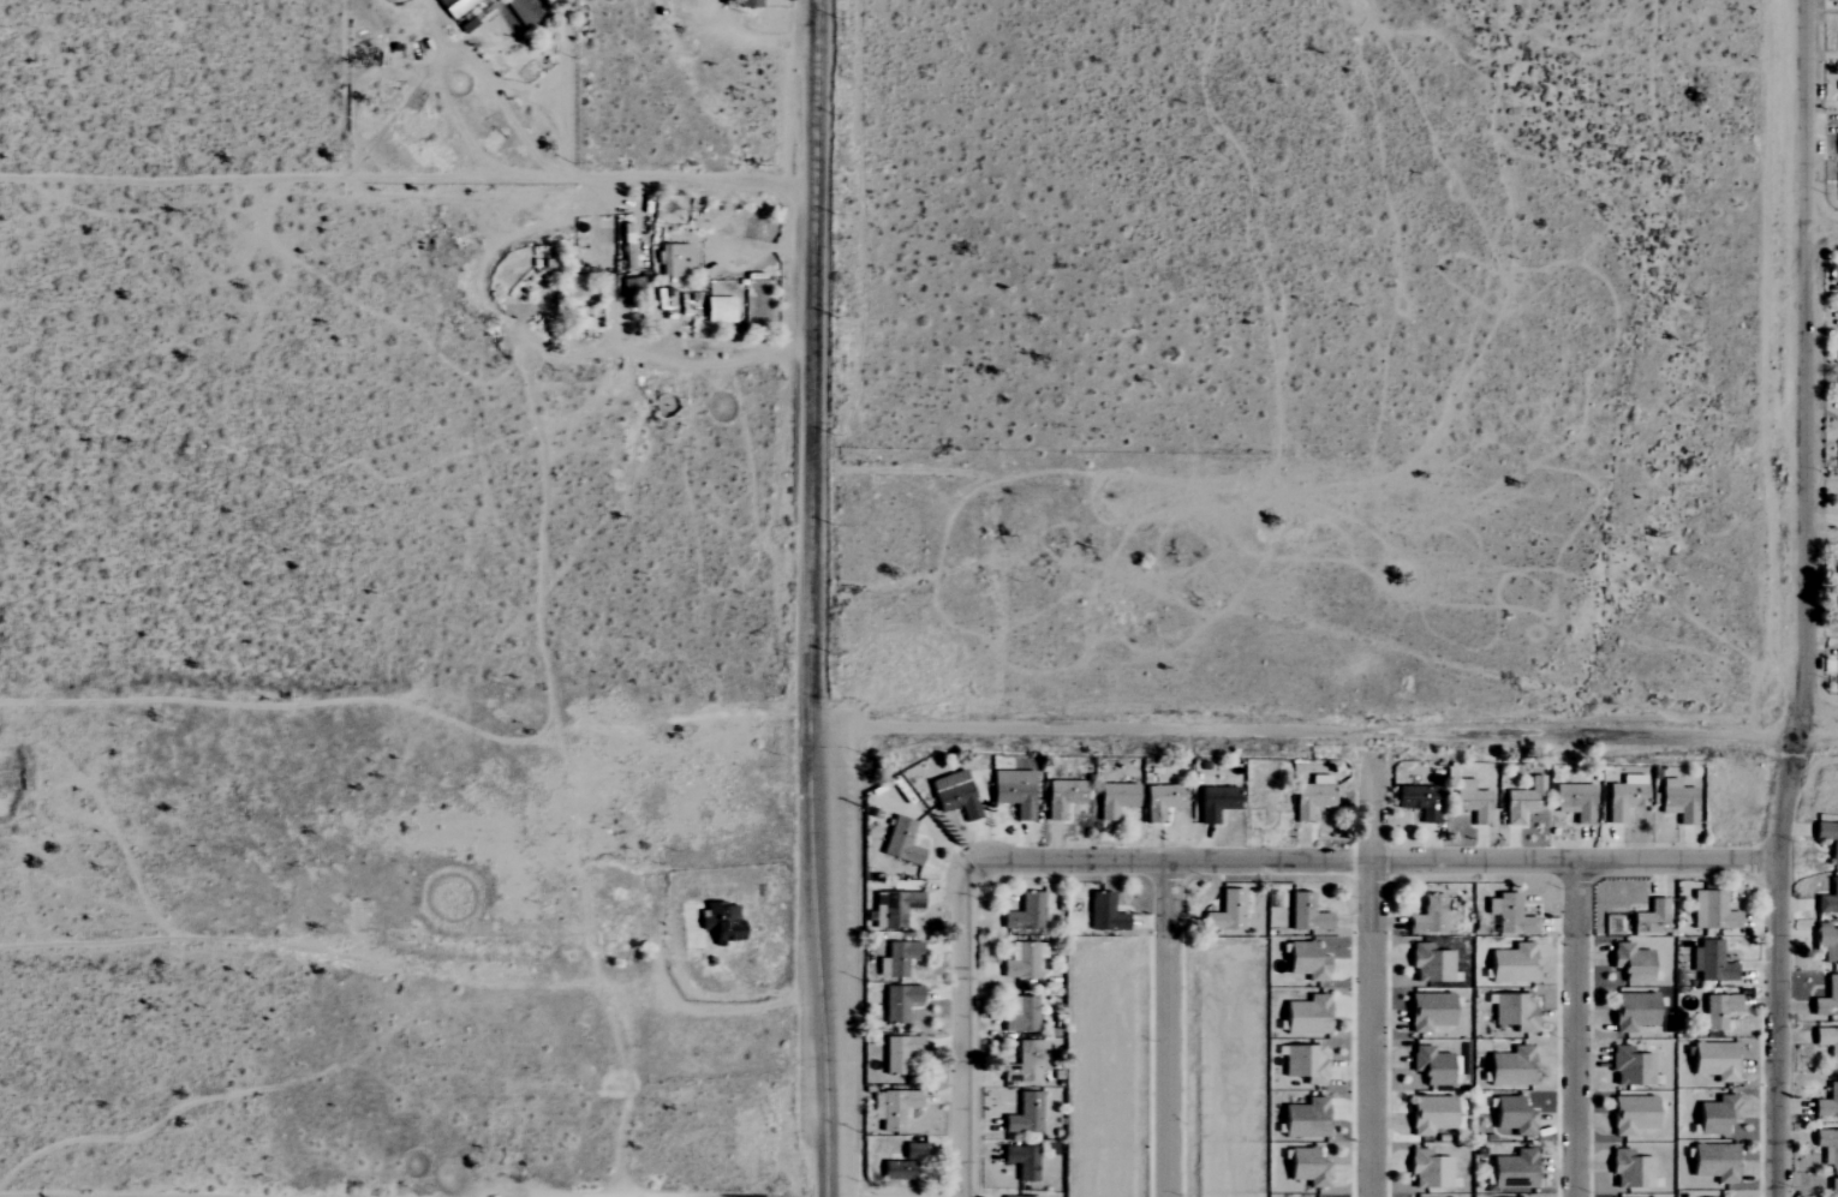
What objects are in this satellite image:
building: (747, 4)
building: (1837, 4)
road: (302, 132)
road: (410, 176)
road: (1824, 231)
building: (569, 287)
building: (717, 310)
road: (635, 349)
road: (817, 363)
building: (1836, 564)
road: (1808, 599)
road: (1326, 732)
building: (1012, 792)
building: (951, 795)
building: (1622, 796)
building: (1060, 797)
building: (1309, 797)
building: (1112, 798)
building: (1159, 801)
building: (1418, 801)
building: (1521, 801)
building: (1676, 801)
building: (1470, 802)
building: (1573, 802)
building: (1213, 803)
building: (1827, 838)
building: (899, 842)
road: (1372, 861)
building: (1828, 899)
building: (893, 909)
building: (1711, 911)
building: (1024, 912)
building: (1224, 912)
building: (1103, 914)
building: (1305, 914)
building: (1426, 915)
building: (1509, 915)
building: (1651, 916)
building: (721, 922)
building: (1826, 944)
building: (896, 958)
building: (1021, 960)
road: (826, 962)
building: (1305, 962)
building: (1629, 962)
building: (1711, 962)
building: (1430, 963)
road: (1373, 964)
building: (1510, 964)
building: (1828, 996)
building: (897, 1001)
building: (1428, 1011)
building: (1631, 1011)
building: (1715, 1011)
building: (1511, 1012)
building: (1019, 1015)
building: (1305, 1016)
road: (1576, 1028)
road: (966, 1029)
road: (1170, 1029)
building: (1827, 1042)
building: (899, 1054)
building: (1030, 1060)
building: (1713, 1060)
building: (1305, 1064)
building: (1432, 1066)
building: (1509, 1067)
building: (1629, 1067)
building: (1827, 1102)
building: (893, 1108)
building: (1024, 1114)
building: (1430, 1114)
building: (1630, 1114)
building: (1715, 1115)
building: (1510, 1118)
building: (1303, 1119)
building: (1827, 1147)
building: (1021, 1161)
building: (1713, 1162)
building: (902, 1163)
building: (1306, 1168)
building: (1428, 1171)
building: (1512, 1171)
building: (1629, 1171)
building: (1832, 1187)
building: (1014, 1196)

